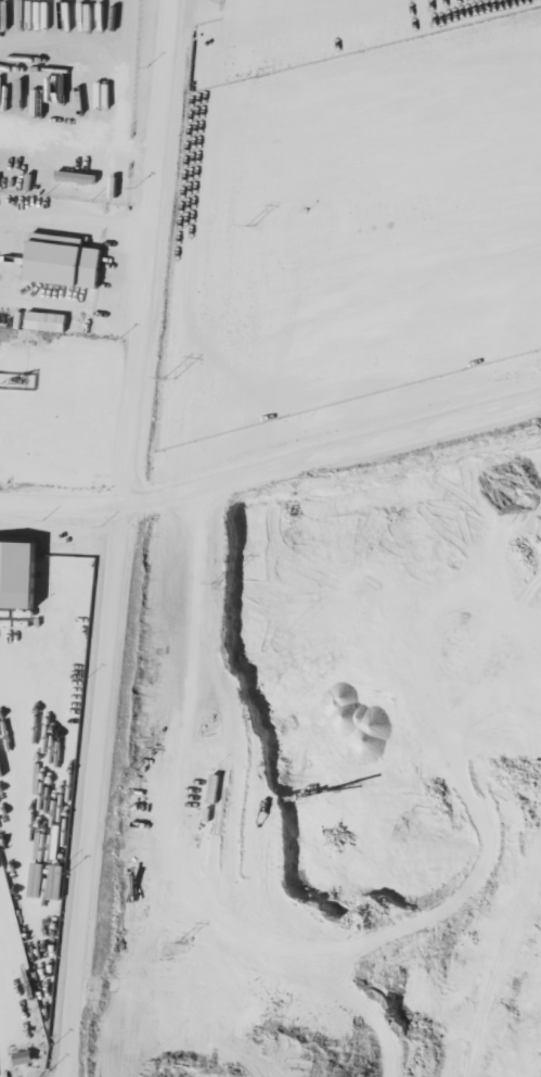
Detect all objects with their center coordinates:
building: (77, 176)
road: (74, 218)
power tower: (249, 226)
building: (66, 261)
building: (48, 321)
petroleum well: (15, 377)
power tower: (168, 379)
road: (272, 466)
road: (125, 538)
building: (21, 574)
power tower: (212, 585)
power tower: (131, 771)
power tower: (179, 942)
building: (26, 1057)

